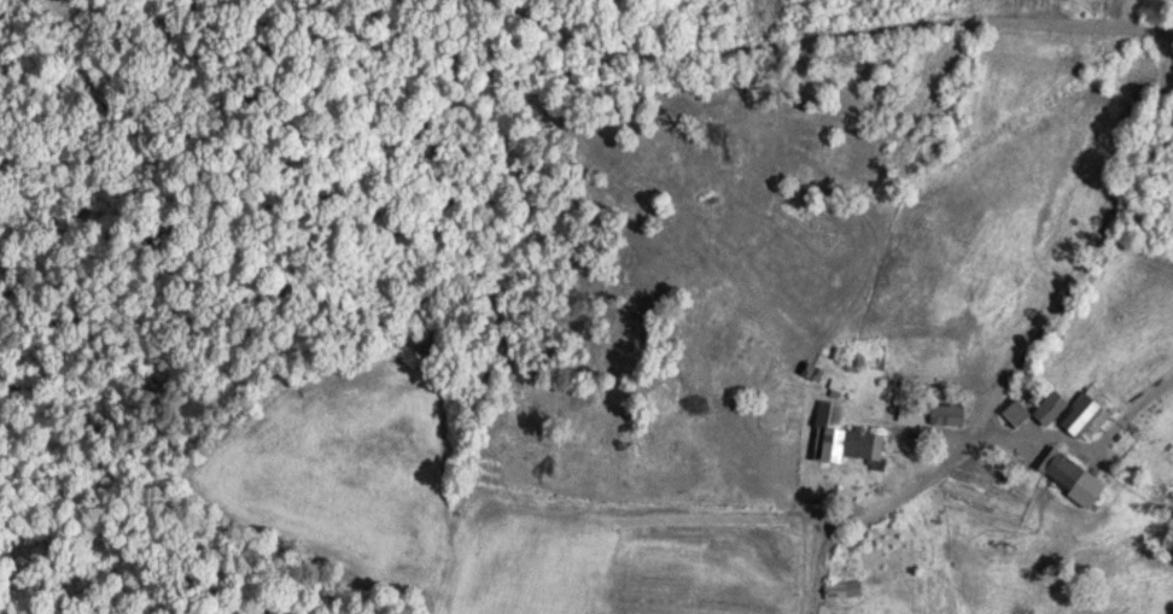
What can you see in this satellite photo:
building: (1073, 407)
building: (936, 410)
building: (847, 433)
building: (1008, 457)
building: (1070, 470)

